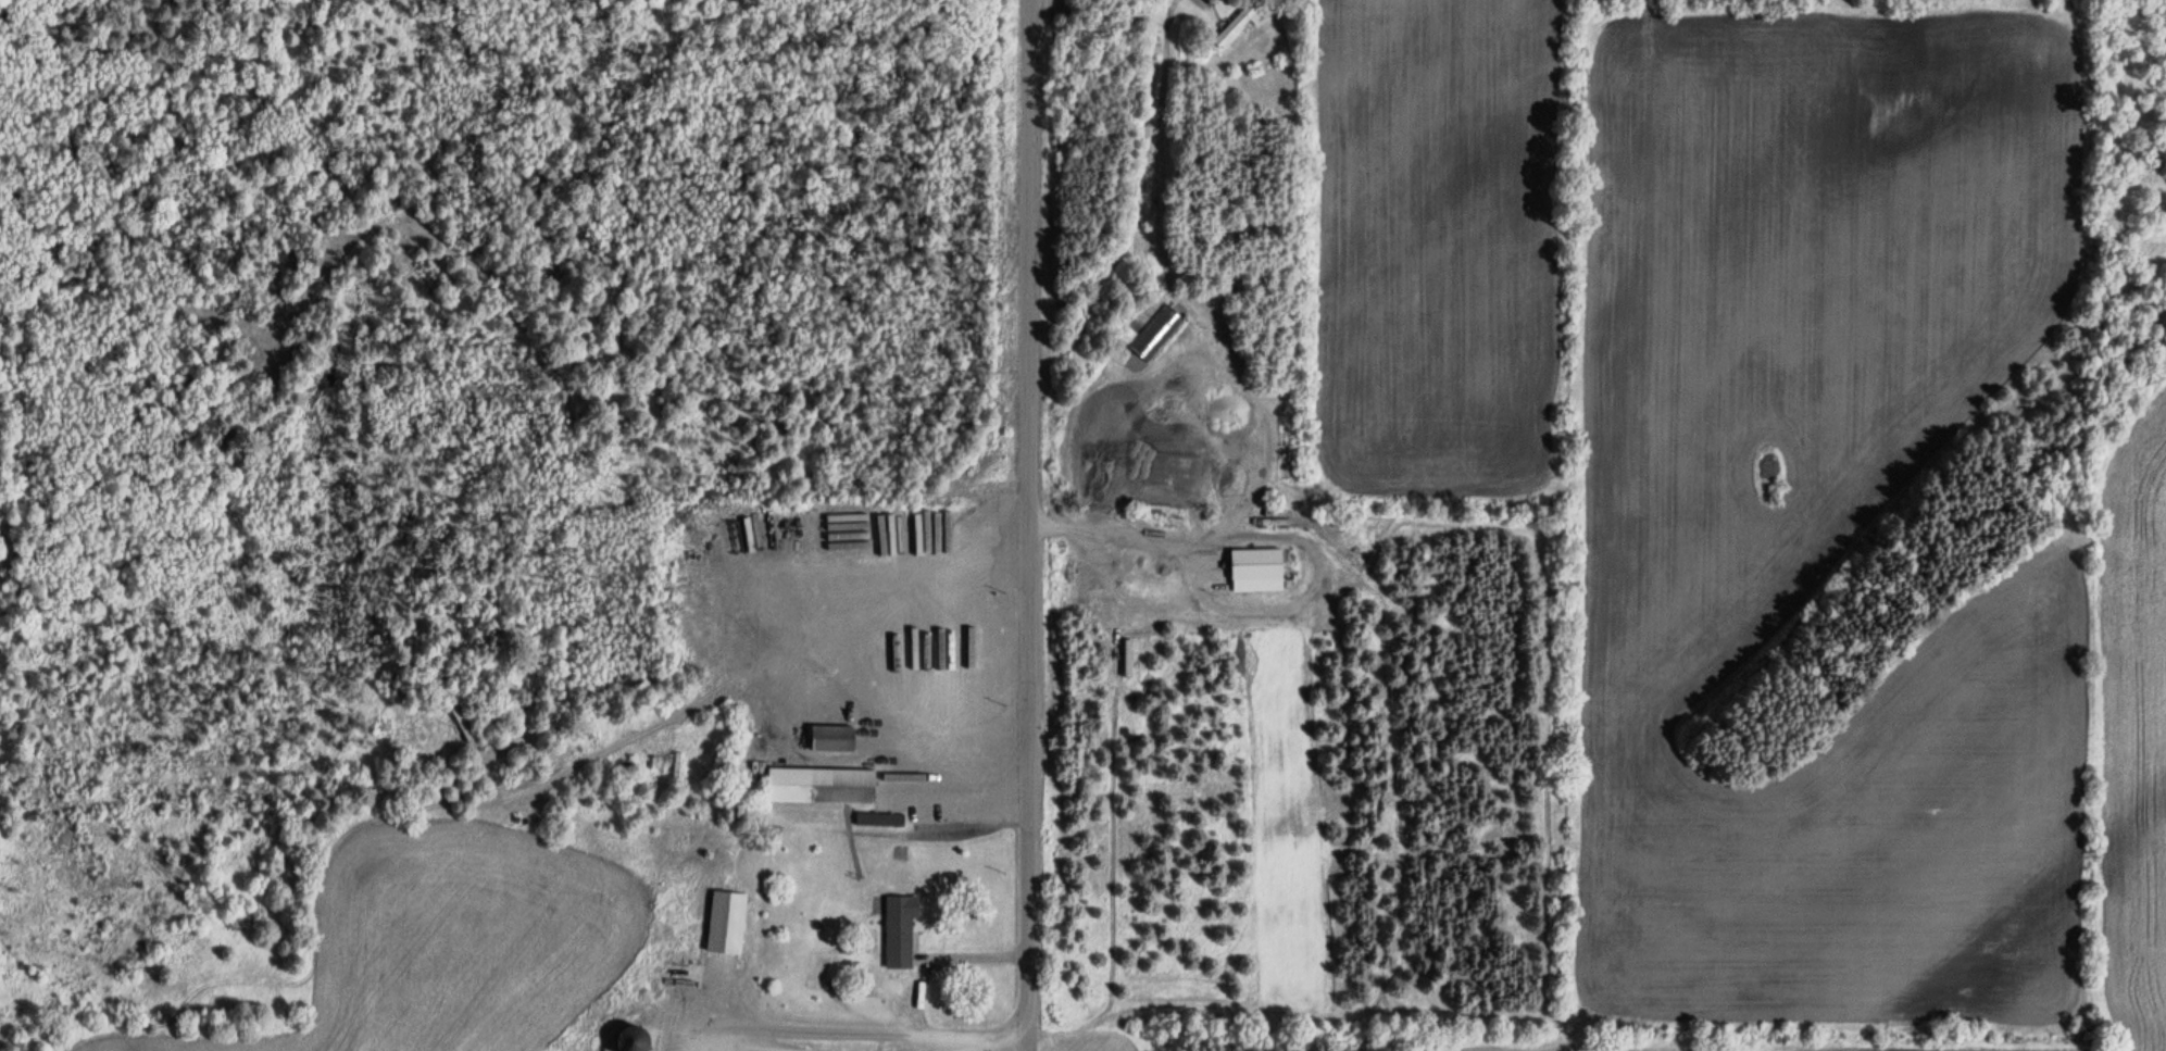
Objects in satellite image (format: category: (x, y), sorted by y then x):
building: (1238, 25)
road: (1025, 525)
building: (1256, 564)
building: (831, 738)
building: (819, 786)
building: (868, 819)
building: (896, 819)
building: (726, 923)
building: (900, 931)
road: (842, 1033)
building: (631, 1039)

